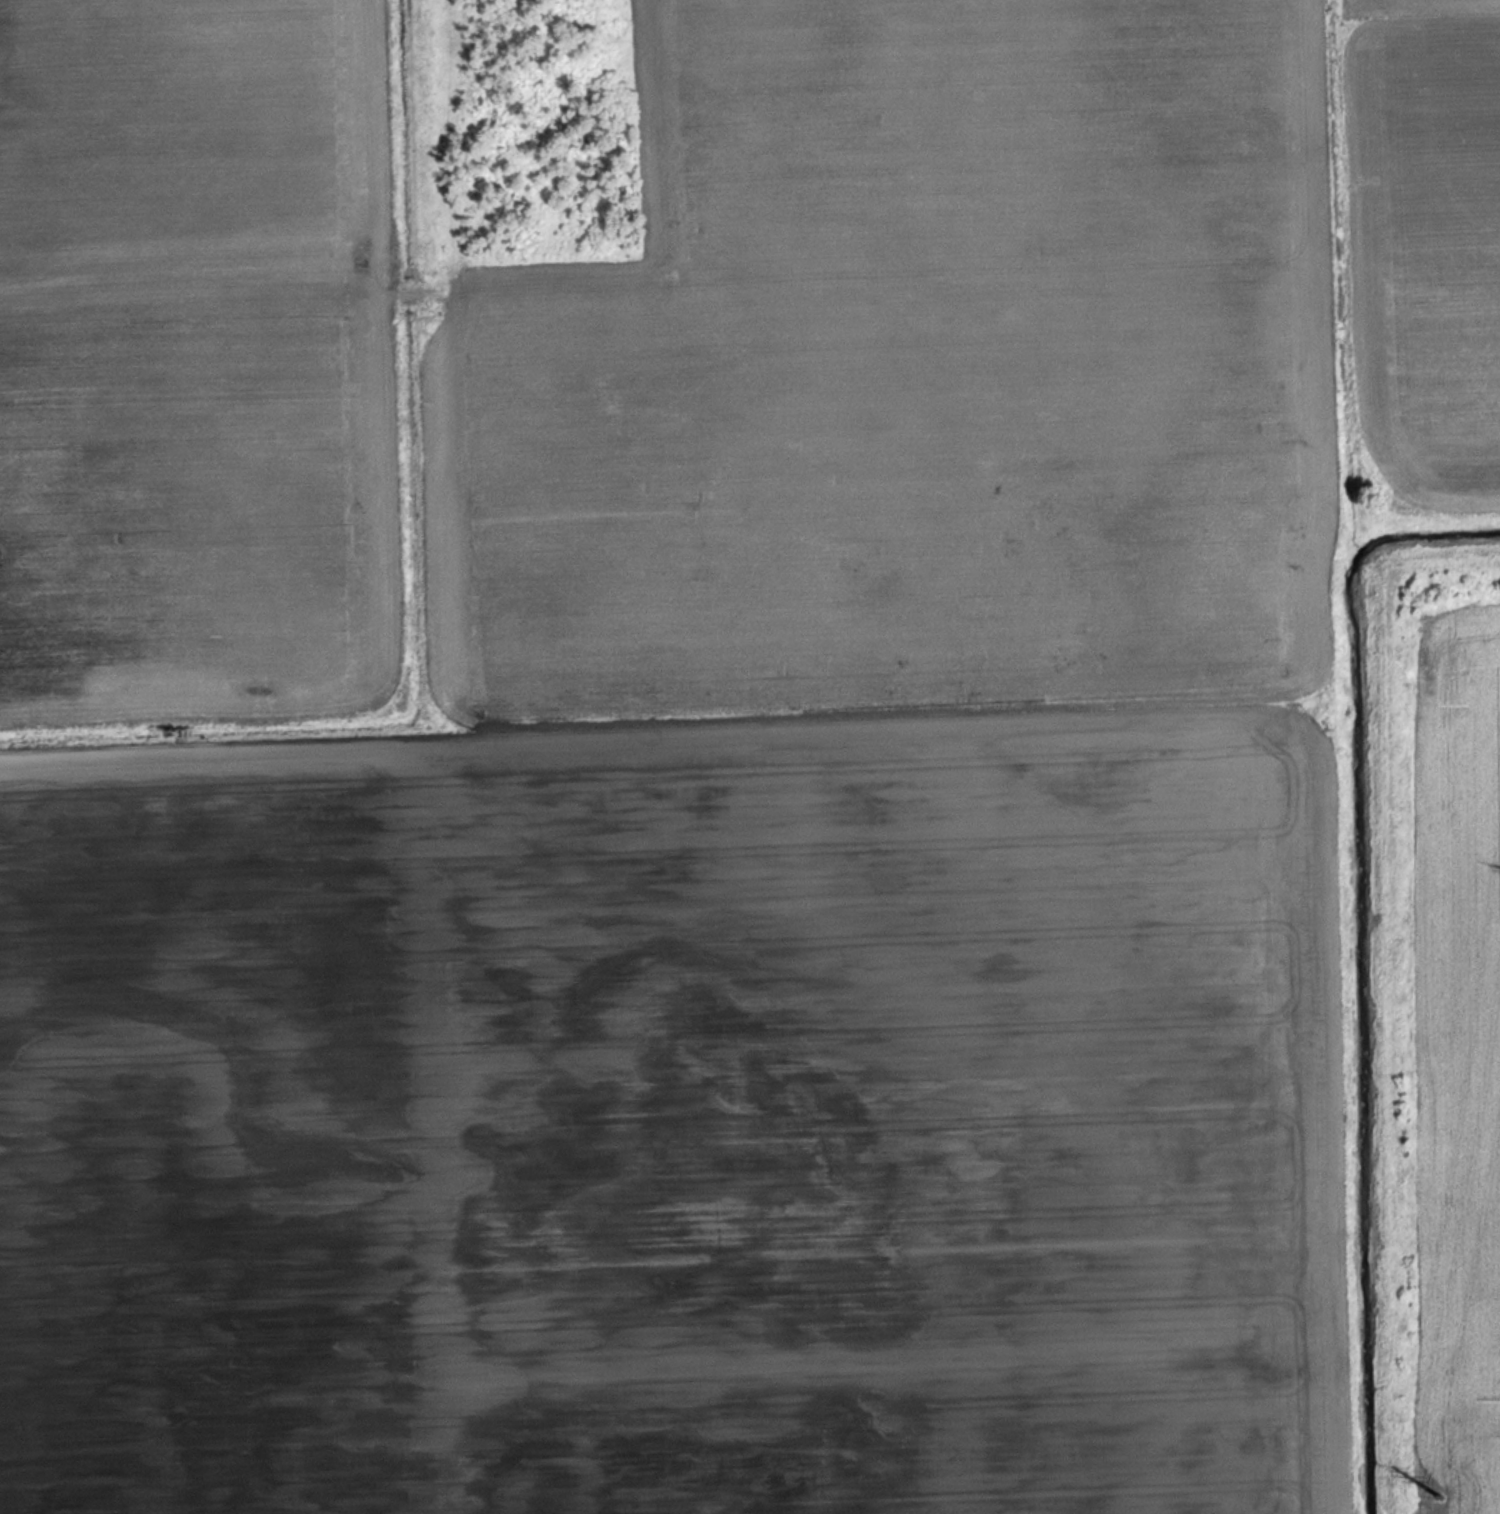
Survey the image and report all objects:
power tower: (1438, 1490)

